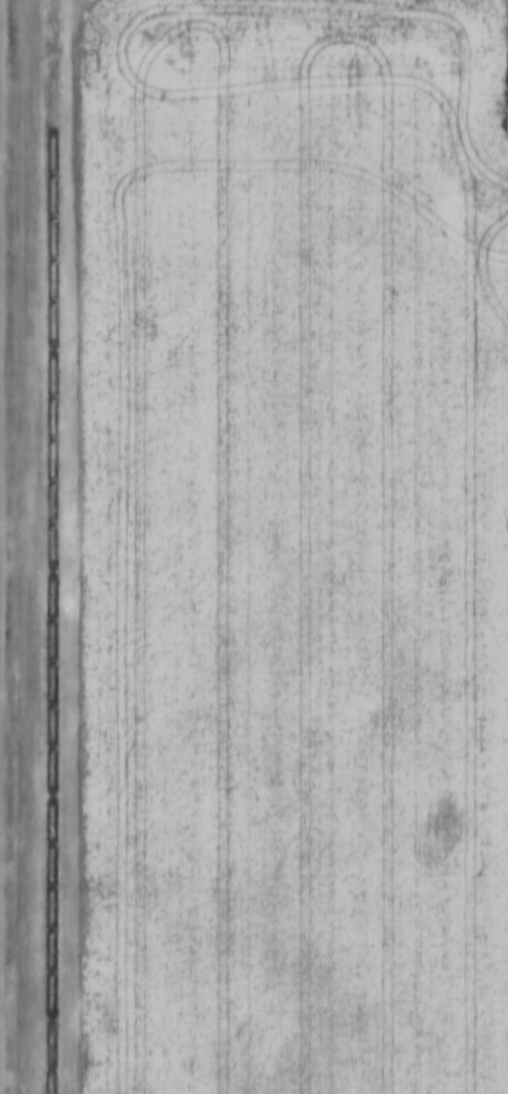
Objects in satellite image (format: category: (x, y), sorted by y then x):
railway: (48, 546)

